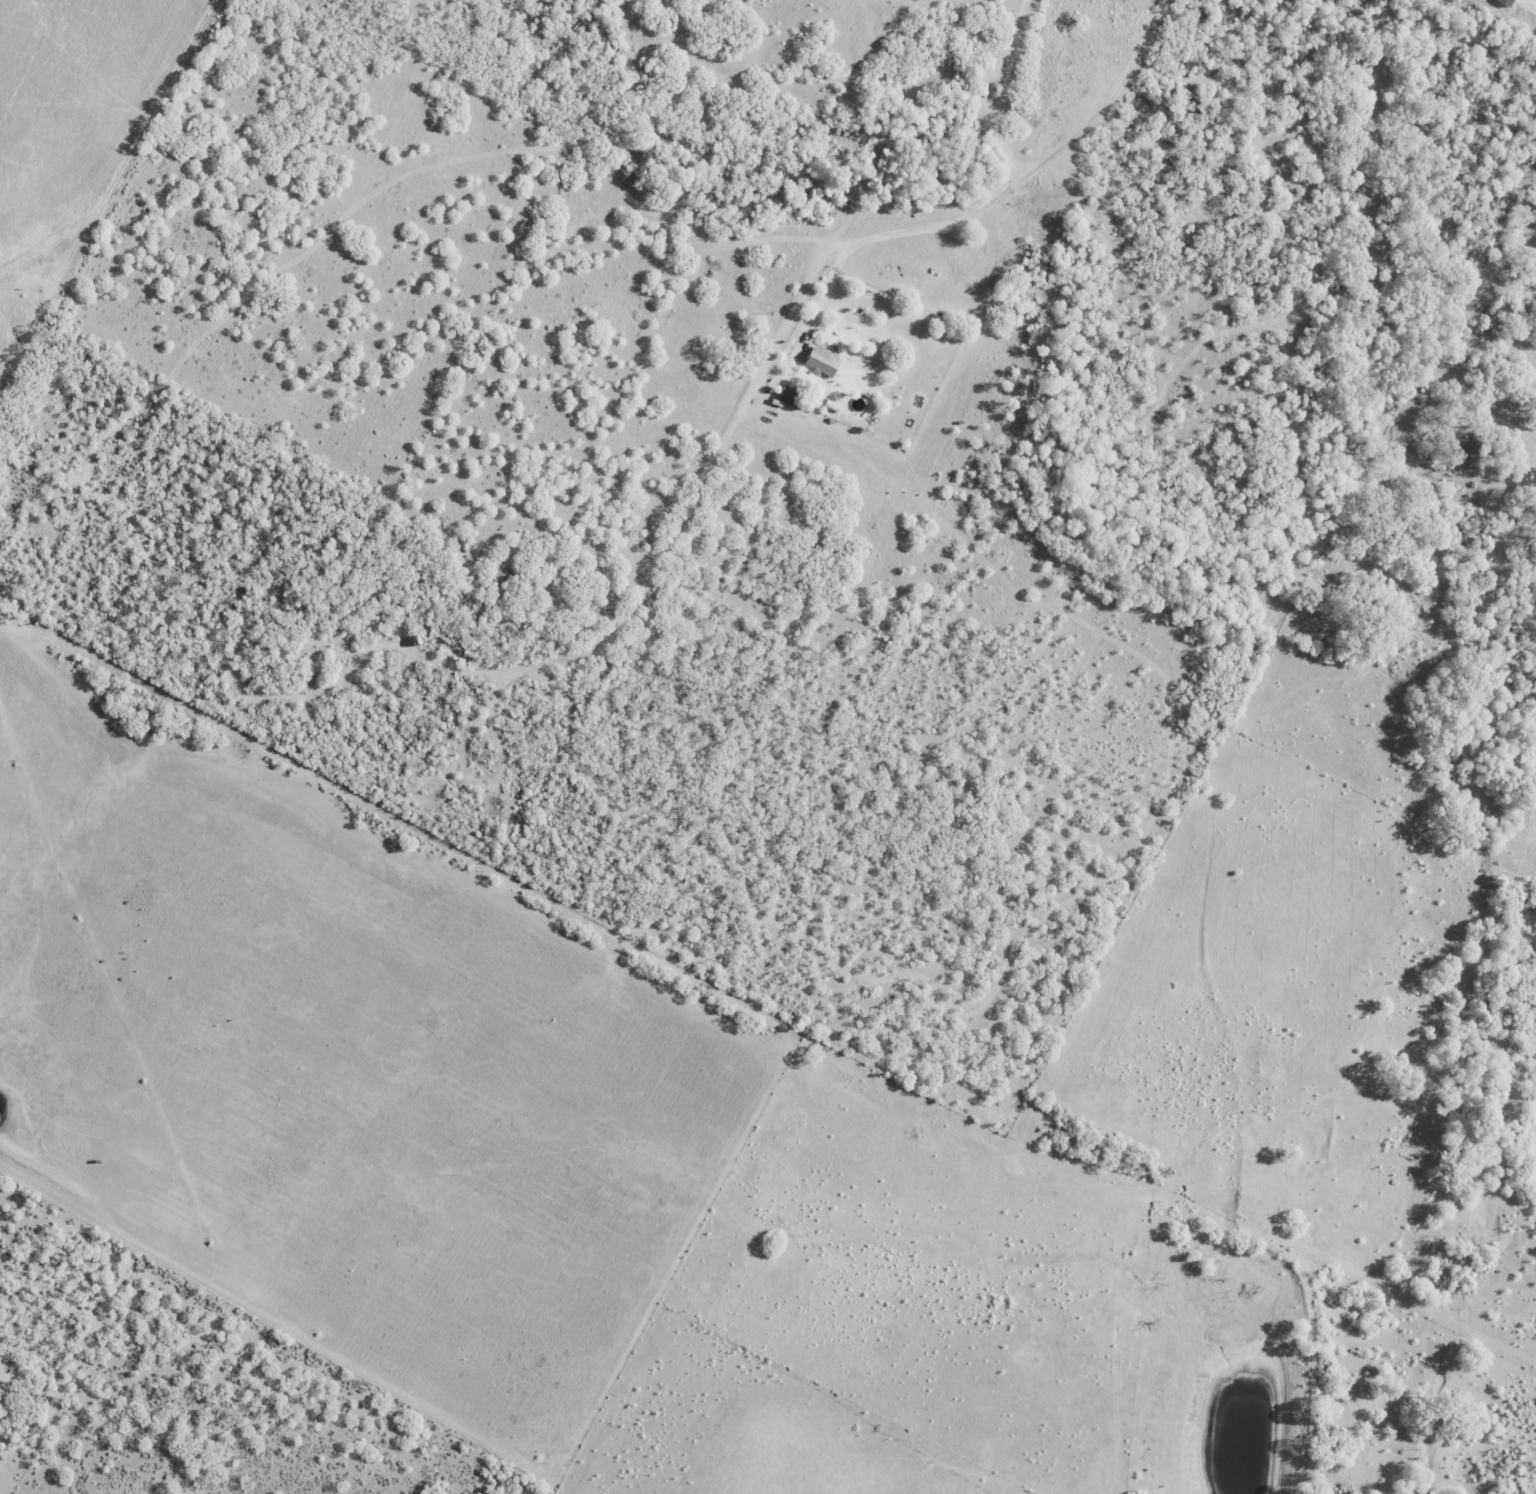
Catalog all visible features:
road: (1030, 173)
building: (824, 361)

